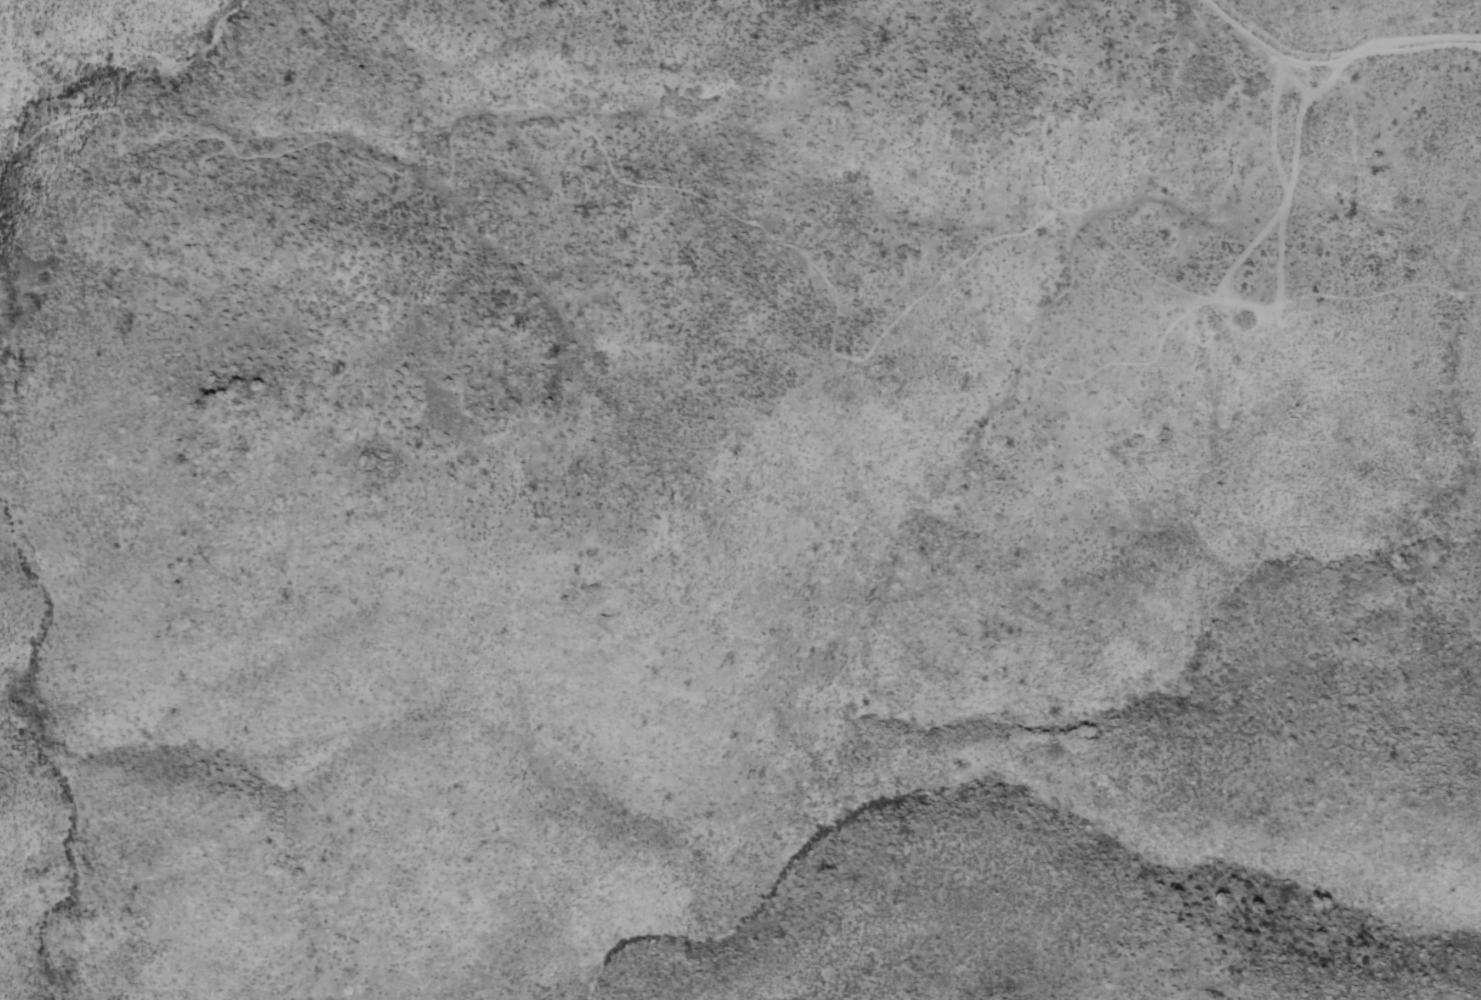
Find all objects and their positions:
road: (1335, 62)

